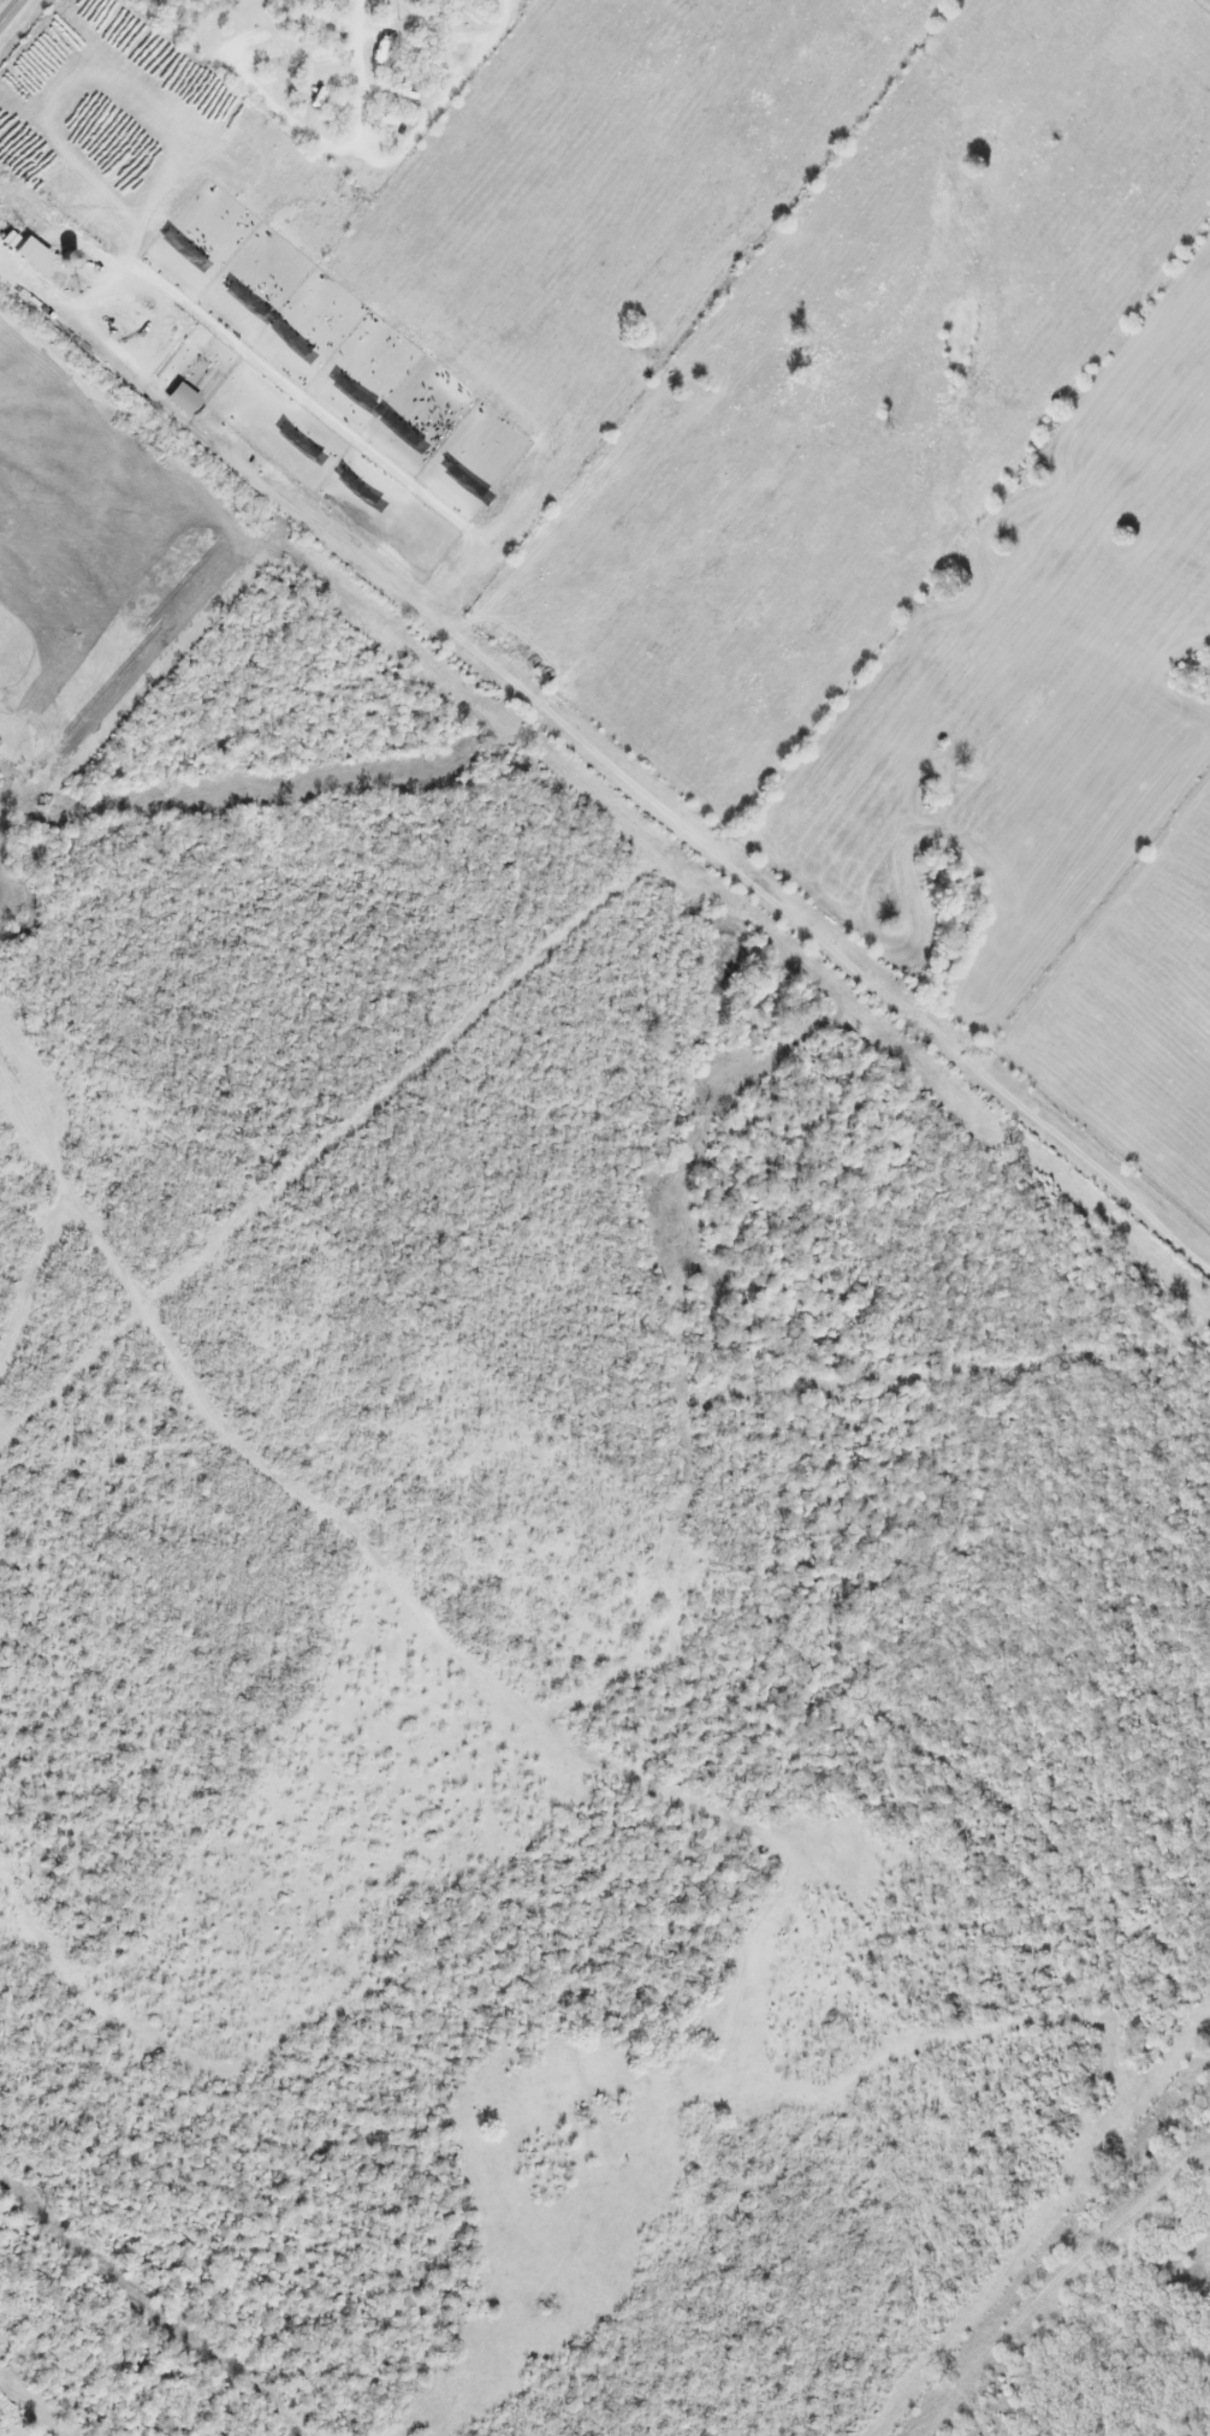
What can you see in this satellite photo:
road: (10, 12)

